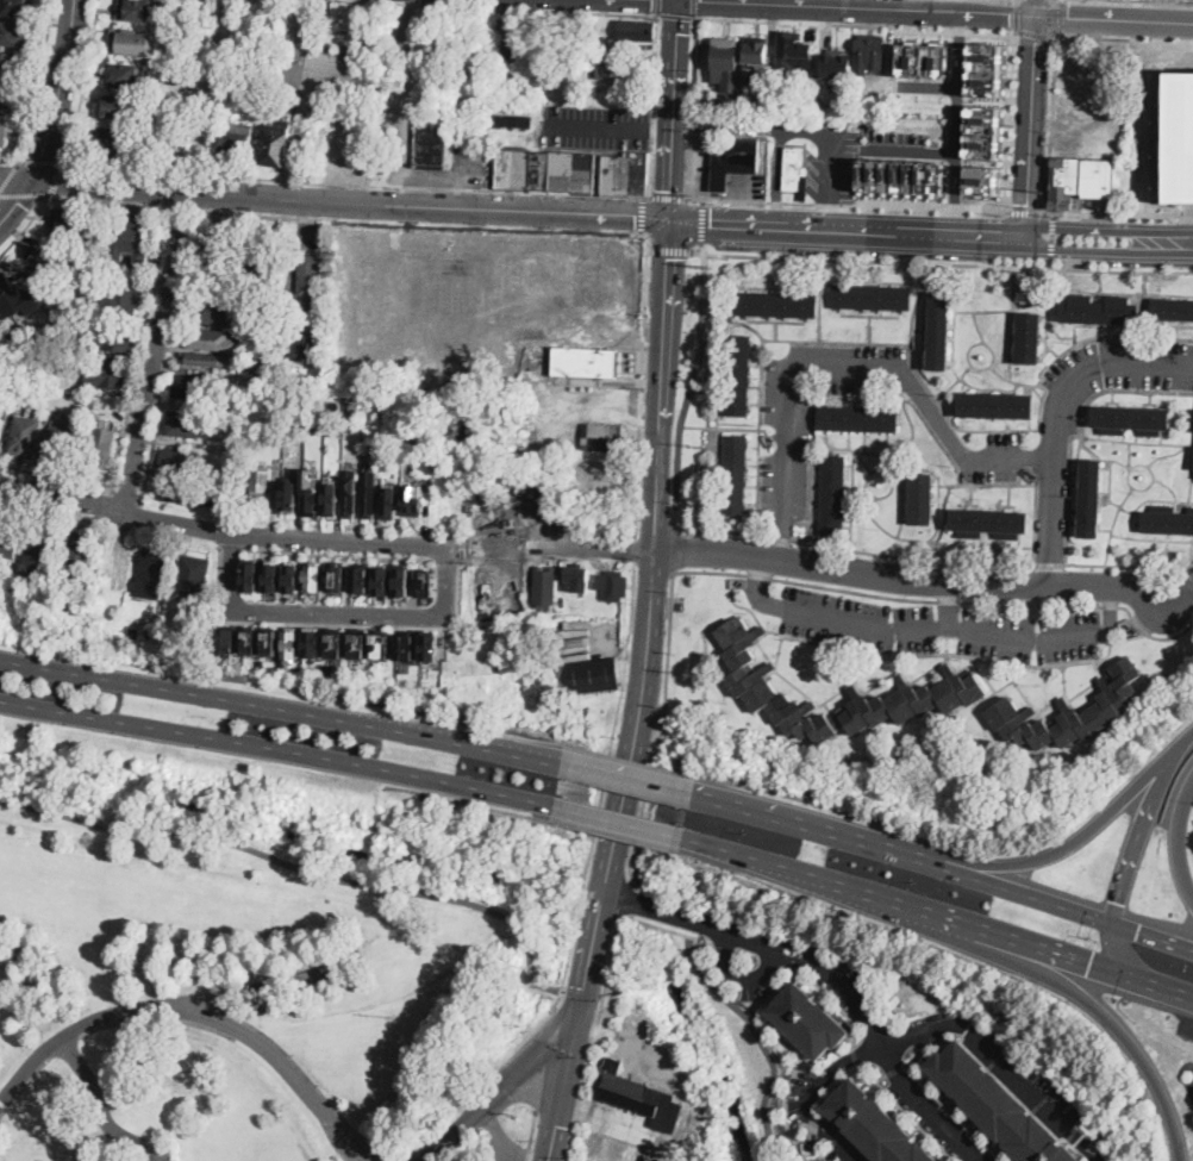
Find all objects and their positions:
road: (1161, 0)
building: (17, 6)
road: (656, 7)
road: (485, 8)
road: (694, 8)
building: (142, 11)
road: (955, 11)
road: (1016, 13)
road: (675, 15)
traffic signals: (1041, 15)
road: (1060, 18)
road: (855, 23)
building: (637, 31)
building: (581, 32)
road: (1035, 33)
building: (13, 35)
road: (1118, 38)
building: (135, 42)
road: (1188, 42)
building: (518, 46)
building: (756, 48)
building: (788, 48)
building: (869, 55)
building: (922, 60)
building: (318, 62)
building: (727, 62)
building: (12, 65)
building: (835, 65)
building: (983, 69)
building: (620, 73)
building: (241, 74)
building: (756, 75)
building: (781, 75)
building: (126, 76)
road: (87, 79)
road: (40, 81)
road: (929, 86)
road: (61, 92)
building: (238, 92)
building: (2, 94)
building: (293, 94)
road: (401, 100)
road: (654, 105)
building: (818, 105)
building: (801, 106)
road: (691, 107)
building: (124, 108)
road: (673, 108)
road: (1144, 112)
building: (510, 114)
road: (1013, 119)
road: (1035, 119)
road: (956, 123)
parking lot: (593, 125)
road: (599, 125)
road: (660, 127)
road: (802, 130)
building: (4, 131)
building: (982, 131)
building: (1180, 136)
parking lot: (897, 137)
building: (198, 142)
building: (238, 143)
building: (111, 144)
building: (430, 144)
building: (276, 145)
road: (910, 150)
parking lot: (826, 154)
road: (10, 161)
road: (40, 161)
building: (733, 161)
parking lot: (701, 164)
parking lot: (456, 167)
building: (545, 170)
building: (624, 171)
building: (795, 173)
road: (460, 174)
road: (10, 176)
building: (901, 176)
road: (425, 177)
road: (55, 179)
building: (982, 179)
building: (1081, 179)
road: (15, 180)
road: (357, 183)
parking lot: (748, 186)
power tower: (1047, 192)
road: (24, 194)
road: (669, 196)
road: (351, 199)
road: (1045, 199)
road: (108, 201)
road: (15, 202)
road: (847, 205)
road: (186, 208)
road: (1026, 212)
road: (643, 213)
road: (263, 214)
traffic signals: (670, 219)
road: (702, 221)
road: (739, 224)
building: (71, 225)
road: (26, 229)
road: (920, 232)
road: (1053, 236)
building: (130, 239)
road: (1111, 241)
building: (218, 246)
road: (702, 246)
road: (668, 249)
road: (175, 255)
building: (260, 255)
building: (92, 257)
building: (44, 260)
road: (704, 261)
road: (939, 262)
road: (1051, 263)
power tower: (713, 268)
power tower: (1039, 274)
building: (58, 281)
building: (11, 297)
building: (872, 297)
building: (124, 304)
building: (776, 305)
building: (307, 307)
building: (1173, 310)
building: (1100, 311)
building: (217, 313)
building: (938, 331)
building: (114, 336)
building: (1029, 338)
building: (208, 339)
road: (143, 348)
road: (173, 356)
building: (204, 358)
building: (585, 362)
road: (855, 363)
road: (918, 373)
building: (108, 374)
parking lot: (1111, 375)
building: (738, 376)
road: (642, 380)
road: (663, 386)
building: (193, 387)
road: (689, 388)
building: (17, 391)
building: (239, 394)
building: (54, 400)
building: (351, 406)
building: (997, 406)
road: (1060, 414)
building: (857, 419)
building: (1130, 420)
building: (186, 424)
road: (719, 426)
building: (24, 435)
building: (602, 436)
parking lot: (792, 438)
building: (424, 439)
building: (61, 443)
building: (101, 443)
building: (410, 443)
power tower: (706, 447)
building: (301, 449)
building: (239, 451)
parking lot: (989, 460)
building: (180, 462)
building: (604, 466)
building: (431, 467)
building: (733, 475)
road: (56, 476)
building: (260, 480)
building: (604, 489)
building: (190, 493)
building: (310, 493)
building: (289, 494)
building: (349, 495)
building: (832, 495)
road: (127, 497)
building: (369, 497)
road: (62, 498)
building: (330, 498)
building: (389, 498)
building: (920, 499)
building: (1089, 499)
building: (411, 500)
road: (674, 516)
road: (56, 517)
building: (1167, 520)
building: (989, 523)
road: (714, 528)
building: (10, 537)
road: (388, 542)
road: (232, 547)
road: (1033, 547)
road: (673, 549)
building: (79, 551)
road: (635, 551)
road: (338, 554)
building: (38, 558)
road: (448, 560)
road: (652, 567)
road: (852, 569)
building: (152, 572)
parking lot: (1189, 572)
building: (251, 574)
building: (193, 575)
building: (314, 575)
building: (337, 575)
building: (271, 576)
building: (292, 576)
building: (360, 576)
building: (580, 576)
building: (402, 579)
road: (783, 579)
building: (382, 581)
building: (429, 582)
road: (1122, 583)
building: (613, 585)
building: (545, 587)
building: (81, 599)
road: (947, 603)
road: (333, 614)
road: (344, 623)
parking lot: (941, 626)
road: (936, 628)
building: (132, 631)
building: (150, 632)
building: (226, 639)
building: (251, 641)
building: (271, 641)
building: (313, 642)
building: (291, 643)
building: (336, 644)
building: (358, 644)
building: (383, 644)
building: (430, 644)
building: (406, 645)
road: (611, 649)
building: (593, 675)
building: (747, 679)
power tower: (702, 682)
road: (281, 712)
building: (1069, 712)
road: (638, 725)
road: (1182, 741)
building: (1050, 750)
road: (279, 751)
road: (627, 781)
road: (602, 787)
road: (618, 824)
road: (792, 824)
road: (1137, 835)
road: (1179, 837)
road: (1050, 854)
power tower: (538, 856)
road: (301, 869)
road: (1001, 888)
road: (629, 901)
traffic signals: (1117, 901)
road: (937, 915)
road: (699, 923)
road: (619, 924)
traffic signals: (1137, 932)
road: (1151, 936)
road: (1120, 950)
park: (249, 957)
traffic signals: (1089, 962)
road: (588, 966)
traffic signals: (585, 985)
road: (1068, 985)
road: (845, 992)
road: (581, 993)
road: (196, 1013)
power tower: (396, 1016)
building: (808, 1019)
road: (760, 1038)
road: (543, 1060)
road: (1001, 1062)
road: (567, 1065)
road: (543, 1084)
traffic signals: (505, 1091)
road: (810, 1096)
road: (496, 1097)
building: (639, 1097)
road: (96, 1099)
road: (927, 1105)
building: (998, 1105)
road: (687, 1112)
road: (554, 1125)
traffic signals: (555, 1125)
building: (876, 1125)
road: (530, 1135)
road: (504, 1142)
parking lot: (155, 1154)
road: (143, 1155)

